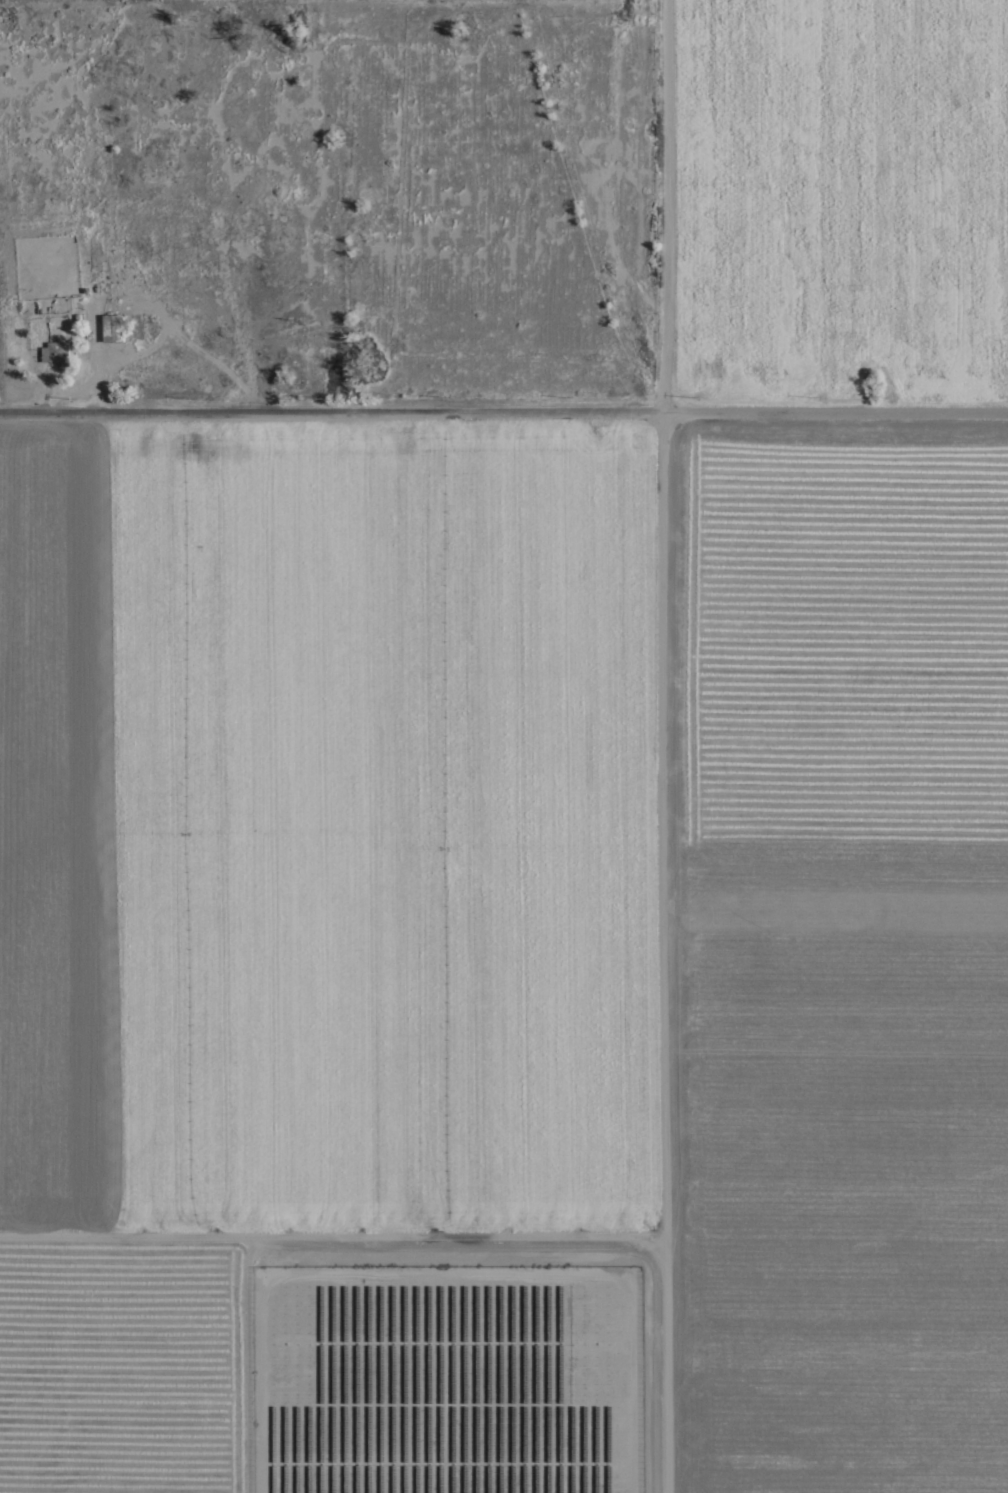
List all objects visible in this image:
road: (667, 209)
building: (113, 328)
building: (56, 352)
road: (504, 419)
crop: (541, 862)
solar farm: (447, 1379)

